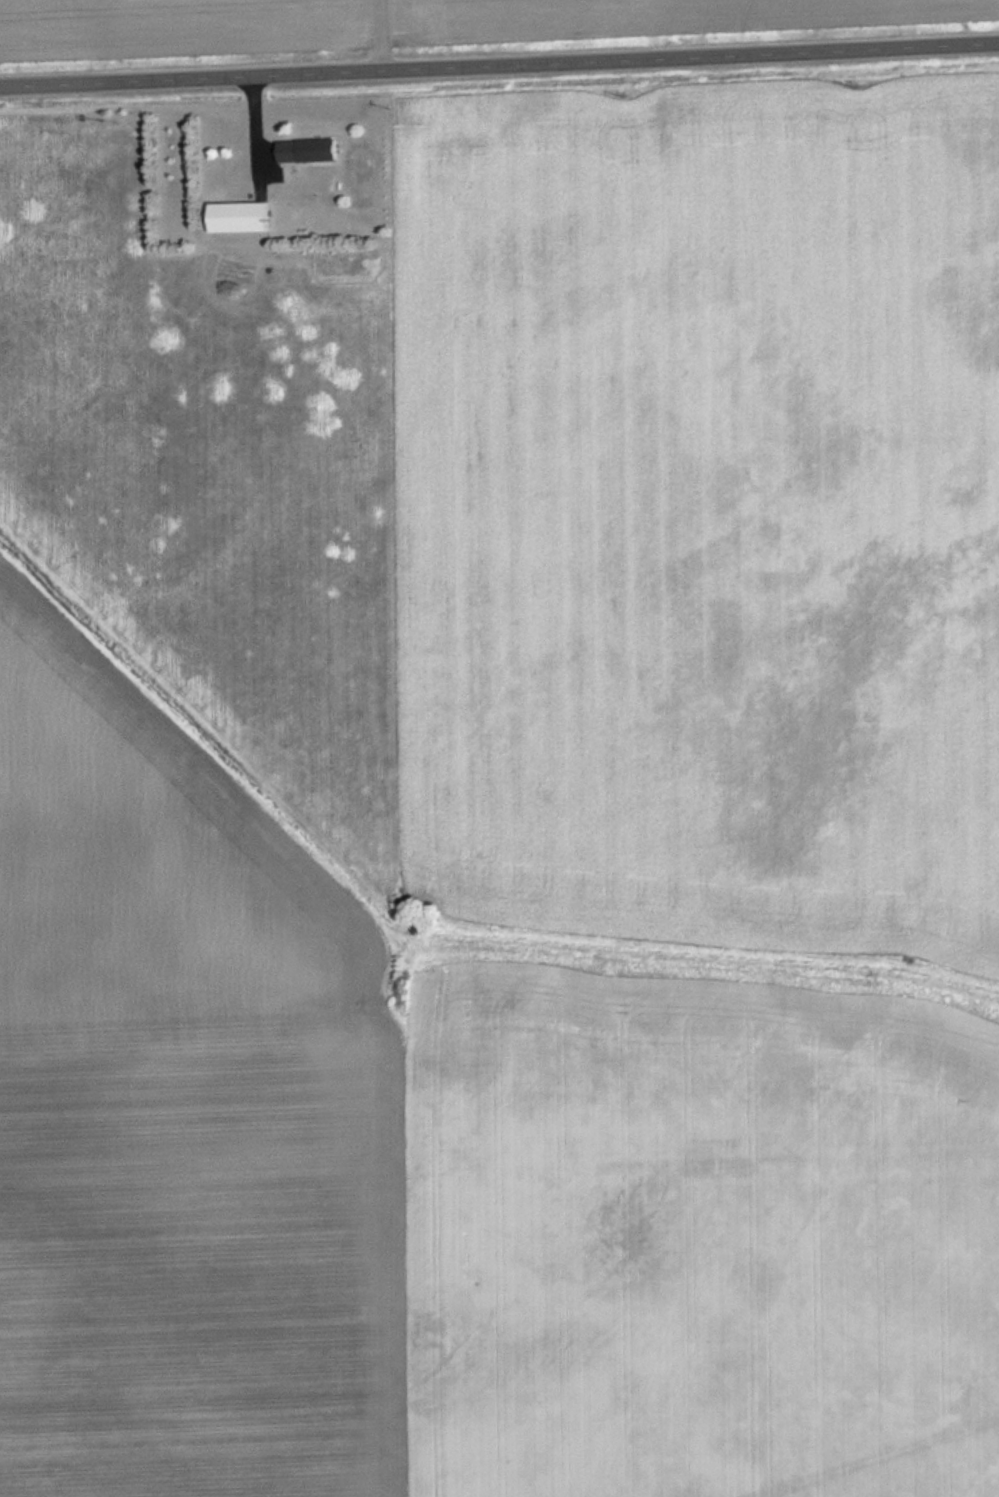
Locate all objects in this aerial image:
road: (389, 34)
road: (499, 63)
building: (311, 151)
building: (243, 217)

